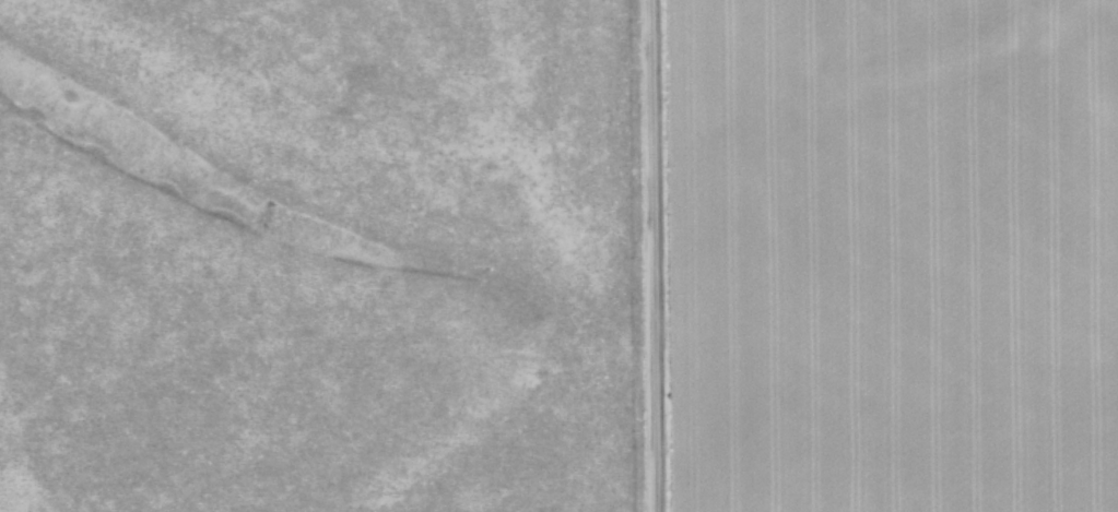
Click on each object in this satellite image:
crop: (905, 254)
road: (647, 255)

